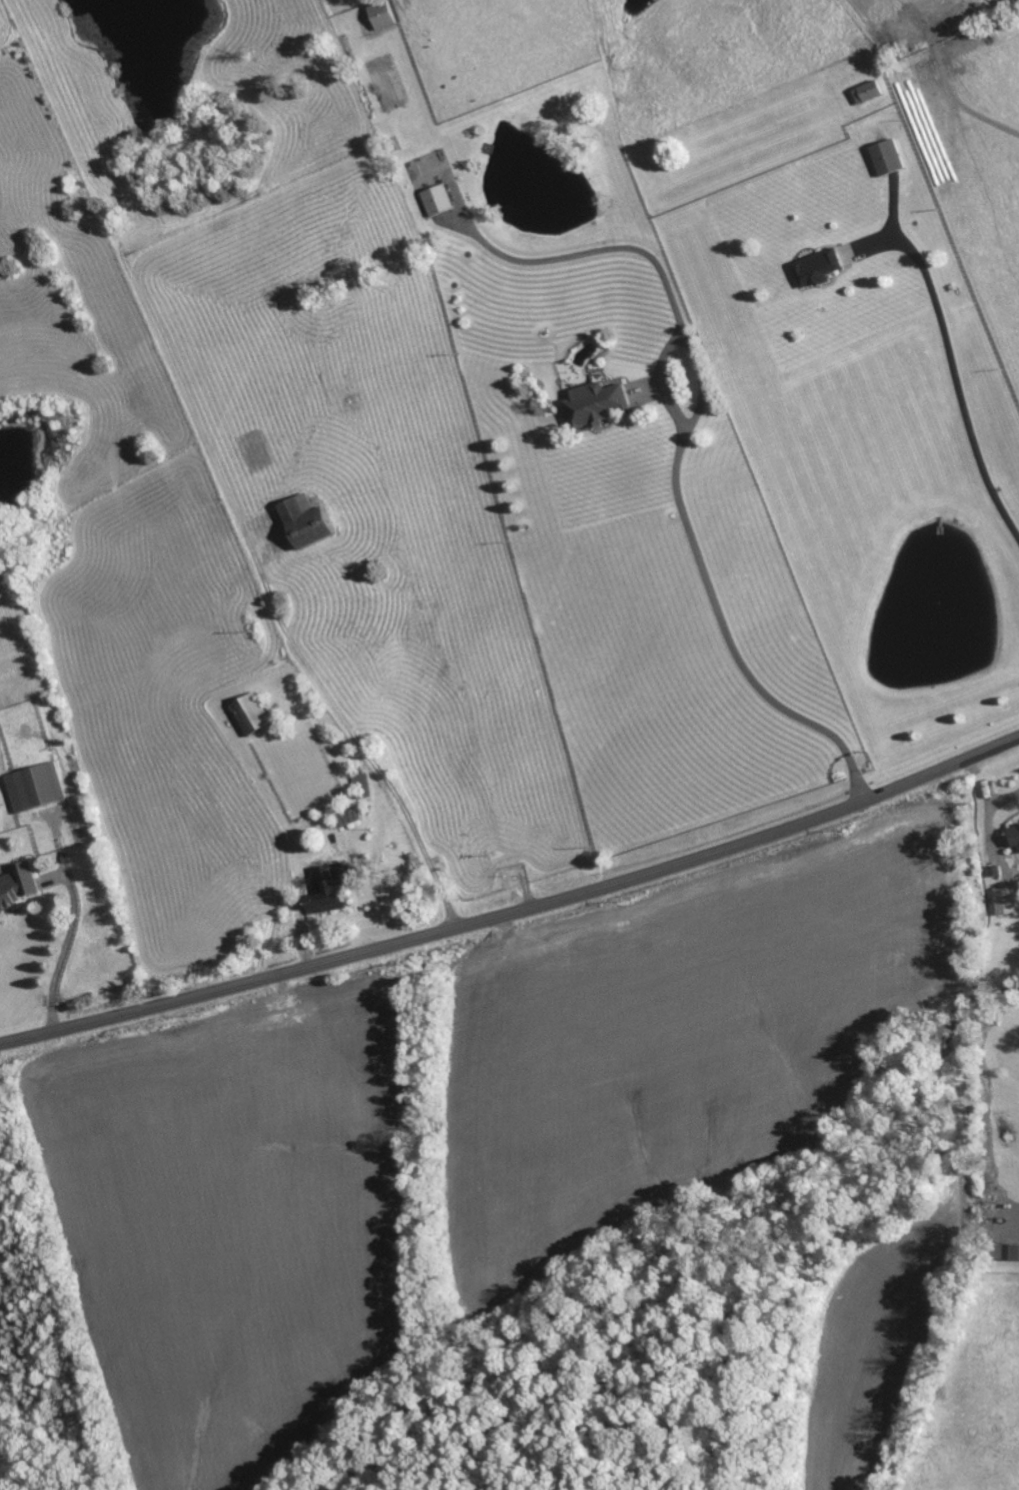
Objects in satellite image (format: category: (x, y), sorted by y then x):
building: (381, 14)
building: (866, 91)
road: (1005, 127)
building: (886, 156)
building: (437, 199)
building: (816, 267)
road: (957, 374)
building: (595, 403)
building: (303, 520)
road: (722, 621)
building: (251, 713)
road: (361, 743)
building: (34, 786)
road: (990, 821)
building: (1014, 835)
building: (17, 884)
building: (328, 891)
building: (1005, 900)
road: (516, 911)
road: (67, 941)
road: (1018, 1230)
building: (1005, 1251)

